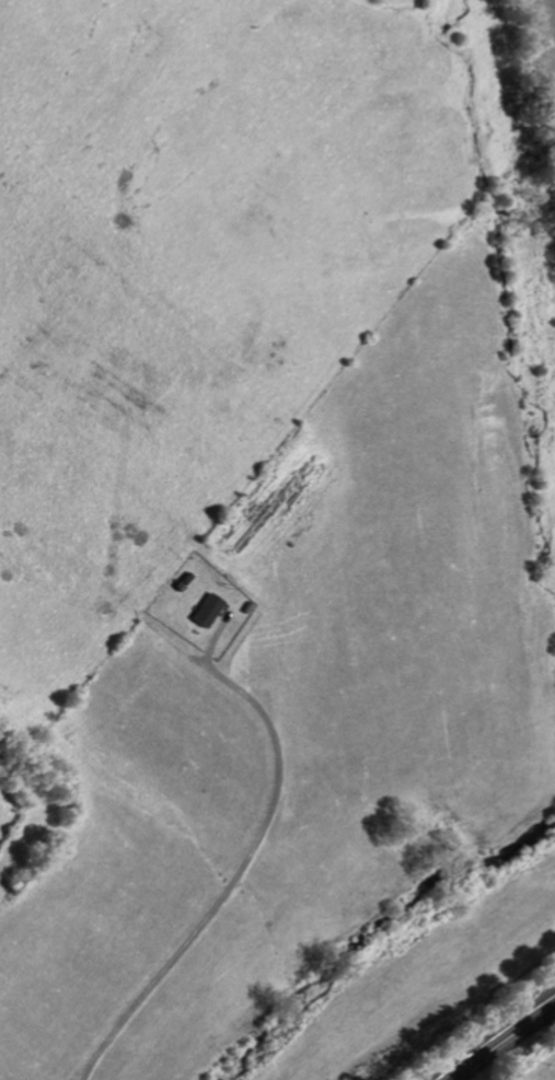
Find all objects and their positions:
building: (209, 611)
road: (238, 863)
railway: (495, 1035)
railway: (502, 1043)

